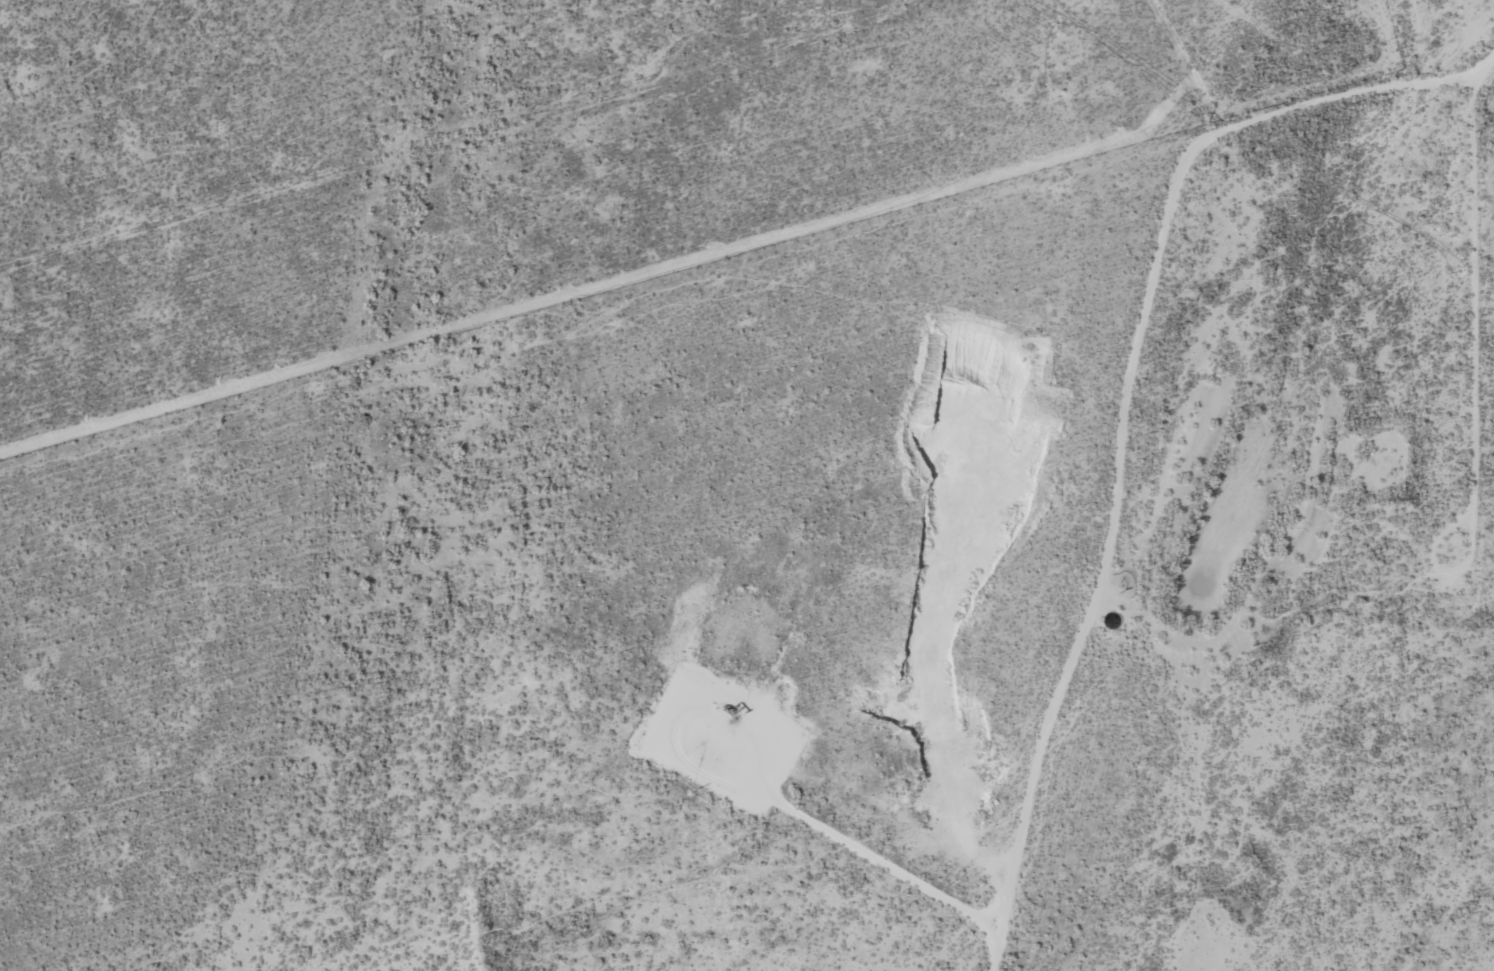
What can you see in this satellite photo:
road: (1122, 480)

